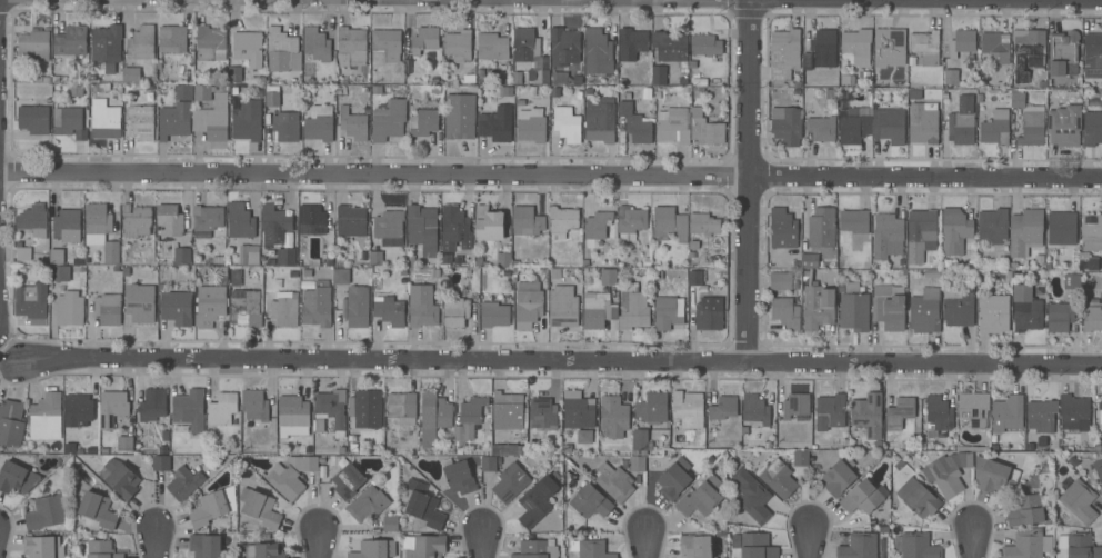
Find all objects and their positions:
building: (172, 38)
building: (425, 39)
building: (70, 40)
building: (141, 42)
building: (211, 42)
building: (317, 43)
building: (351, 43)
building: (458, 43)
building: (524, 43)
building: (631, 43)
building: (962, 43)
building: (995, 43)
building: (33, 44)
building: (705, 44)
building: (107, 46)
building: (385, 46)
building: (492, 46)
building: (564, 46)
building: (670, 46)
building: (925, 46)
building: (858, 47)
building: (889, 47)
building: (1029, 47)
building: (249, 48)
building: (280, 48)
building: (820, 49)
building: (598, 51)
building: (1063, 51)
building: (784, 54)
building: (1092, 54)
building: (131, 74)
building: (236, 74)
building: (659, 74)
building: (951, 76)
building: (541, 77)
building: (559, 77)
building: (517, 78)
building: (182, 91)
building: (505, 91)
building: (202, 92)
building: (272, 94)
building: (459, 116)
building: (33, 118)
building: (213, 118)
building: (104, 119)
building: (600, 119)
building: (140, 120)
building: (174, 120)
building: (389, 120)
building: (1030, 120)
building: (248, 121)
building: (962, 121)
building: (69, 122)
building: (423, 122)
building: (923, 122)
building: (319, 123)
building: (353, 123)
building: (567, 123)
building: (635, 123)
building: (854, 123)
building: (495, 124)
building: (531, 124)
building: (673, 124)
building: (787, 124)
building: (889, 124)
building: (1064, 126)
building: (285, 127)
building: (705, 128)
building: (995, 128)
building: (1092, 128)
building: (820, 129)
road: (550, 176)
road: (749, 180)
building: (33, 219)
building: (137, 219)
building: (170, 219)
building: (207, 219)
building: (312, 219)
building: (240, 220)
building: (351, 220)
building: (527, 220)
building: (562, 220)
building: (97, 221)
building: (630, 221)
building: (489, 223)
building: (670, 223)
building: (704, 223)
building: (855, 223)
building: (67, 225)
building: (274, 225)
building: (421, 225)
building: (993, 225)
building: (922, 226)
building: (390, 227)
building: (783, 228)
building: (1062, 228)
building: (455, 229)
building: (600, 230)
building: (822, 230)
building: (954, 230)
building: (1025, 231)
building: (1092, 231)
building: (888, 236)
building: (23, 252)
building: (111, 252)
building: (182, 255)
building: (57, 256)
building: (248, 256)
building: (285, 256)
building: (375, 258)
building: (447, 259)
building: (503, 259)
building: (809, 260)
building: (1089, 262)
building: (59, 272)
building: (932, 272)
building: (341, 276)
building: (609, 276)
building: (695, 277)
building: (781, 280)
building: (1071, 280)
building: (32, 302)
building: (141, 302)
building: (210, 303)
building: (528, 303)
building: (317, 305)
building: (355, 306)
building: (563, 306)
building: (818, 306)
building: (889, 306)
building: (176, 307)
building: (246, 307)
building: (632, 307)
building: (70, 308)
building: (389, 308)
building: (960, 308)
building: (108, 309)
building: (422, 309)
building: (494, 309)
building: (598, 309)
building: (1026, 309)
building: (282, 310)
building: (925, 310)
building: (455, 311)
building: (854, 311)
building: (667, 312)
building: (785, 312)
building: (1092, 315)
building: (1060, 316)
building: (708, 317)
building: (993, 319)
road: (562, 360)
building: (153, 403)
building: (254, 403)
building: (401, 405)
building: (79, 406)
building: (188, 406)
building: (795, 406)
building: (1100, 406)
building: (112, 407)
building: (652, 407)
building: (724, 407)
building: (222, 408)
building: (365, 408)
building: (688, 408)
building: (755, 408)
building: (974, 408)
building: (332, 409)
building: (578, 409)
building: (507, 411)
building: (831, 411)
building: (543, 412)
building: (899, 412)
building: (1008, 412)
building: (1074, 412)
building: (868, 413)
building: (938, 415)
building: (1041, 415)
building: (293, 416)
building: (433, 416)
building: (614, 416)
building: (46, 417)
building: (469, 418)
building: (11, 421)
building: (584, 436)
building: (640, 441)
building: (124, 442)
building: (801, 458)
building: (323, 459)
building: (161, 462)
building: (303, 462)
building: (489, 462)
building: (637, 462)
building: (948, 471)
building: (1099, 472)
building: (994, 475)
building: (459, 476)
building: (839, 476)
building: (17, 477)
building: (120, 477)
building: (674, 478)
building: (778, 478)
building: (348, 480)
building: (512, 480)
building: (612, 480)
building: (287, 481)
building: (184, 482)
building: (751, 495)
building: (701, 497)
building: (863, 497)
building: (919, 497)
building: (590, 500)
building: (1080, 500)
building: (368, 504)
building: (213, 505)
building: (423, 505)
building: (533, 506)
building: (260, 507)
building: (99, 508)
building: (1028, 509)
building: (47, 511)
building: (391, 522)
road: (320, 542)
road: (484, 542)
road: (648, 542)
road: (811, 542)
road: (974, 542)
road: (157, 544)
building: (1028, 544)
building: (206, 545)
building: (753, 545)
building: (1080, 545)
building: (40, 546)
building: (427, 546)
building: (695, 546)
building: (859, 546)
building: (919, 546)
building: (537, 548)
building: (98, 549)
building: (374, 549)
building: (593, 549)
building: (264, 550)

